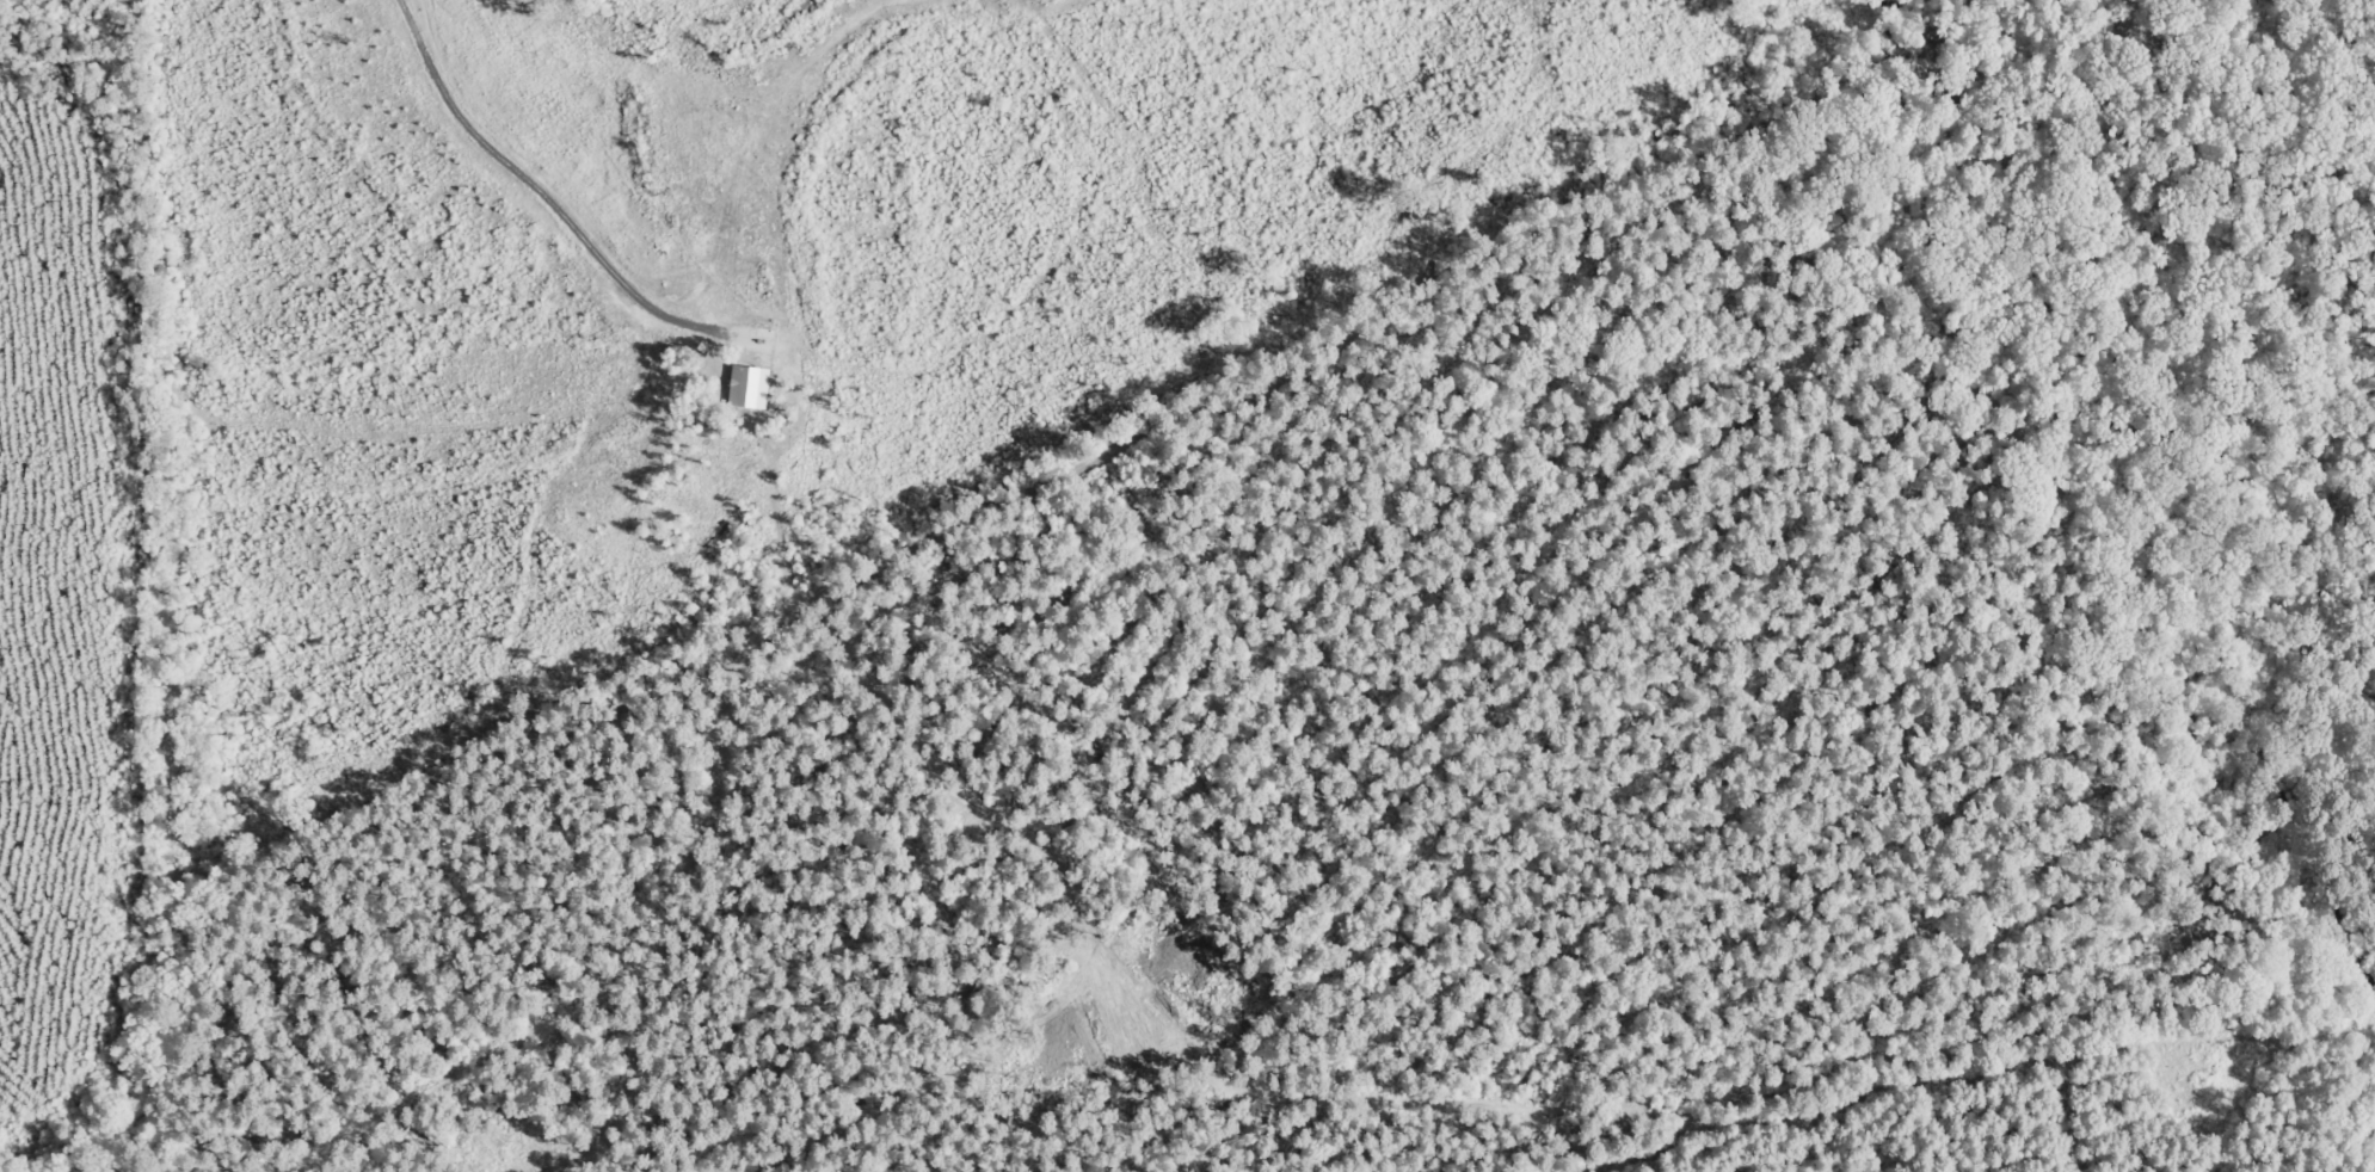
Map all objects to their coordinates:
building: (749, 388)
road: (819, 565)

